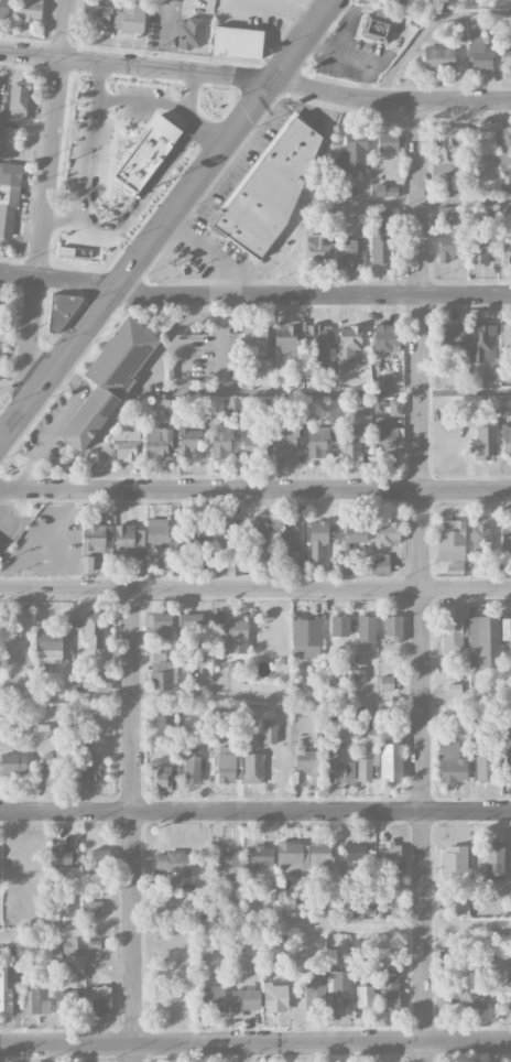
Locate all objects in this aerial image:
building: (409, 2)
building: (4, 9)
building: (29, 10)
building: (98, 13)
building: (130, 18)
building: (377, 26)
building: (458, 32)
building: (189, 33)
building: (237, 42)
building: (479, 54)
building: (438, 57)
building: (505, 59)
road: (135, 64)
road: (98, 77)
road: (191, 91)
building: (18, 99)
road: (390, 102)
road: (166, 104)
building: (1, 120)
building: (388, 141)
building: (482, 143)
building: (504, 144)
building: (355, 151)
building: (146, 153)
building: (447, 166)
building: (505, 184)
building: (268, 191)
building: (385, 191)
building: (9, 197)
road: (465, 199)
road: (47, 204)
road: (111, 210)
building: (446, 214)
building: (489, 216)
road: (70, 219)
road: (164, 220)
building: (381, 245)
building: (448, 246)
building: (479, 246)
building: (318, 248)
building: (355, 250)
building: (505, 251)
road: (253, 294)
building: (59, 313)
road: (176, 333)
road: (218, 333)
building: (507, 336)
building: (450, 337)
building: (316, 338)
building: (286, 339)
building: (387, 339)
building: (254, 340)
building: (482, 340)
building: (348, 345)
building: (265, 366)
building: (330, 368)
building: (489, 377)
building: (109, 379)
building: (296, 379)
road: (466, 392)
building: (233, 405)
building: (297, 405)
building: (394, 407)
road: (61, 425)
building: (160, 429)
building: (384, 434)
building: (187, 438)
building: (285, 440)
building: (505, 440)
building: (220, 441)
building: (316, 442)
building: (351, 442)
building: (486, 442)
building: (127, 444)
building: (254, 447)
road: (254, 489)
building: (156, 531)
building: (385, 533)
building: (352, 534)
building: (222, 535)
building: (252, 535)
building: (286, 537)
building: (479, 538)
building: (127, 539)
building: (192, 539)
building: (317, 540)
building: (505, 541)
building: (450, 542)
building: (97, 549)
building: (232, 565)
building: (380, 565)
road: (421, 582)
road: (254, 588)
building: (192, 620)
building: (159, 625)
building: (339, 626)
building: (394, 628)
building: (507, 628)
building: (366, 629)
building: (93, 630)
building: (453, 632)
building: (237, 635)
building: (306, 636)
building: (483, 641)
building: (47, 647)
building: (157, 653)
building: (159, 674)
building: (385, 682)
building: (102, 686)
building: (508, 719)
building: (162, 720)
building: (269, 736)
building: (307, 760)
building: (391, 761)
building: (450, 762)
building: (12, 763)
building: (508, 763)
building: (228, 765)
building: (53, 768)
building: (252, 768)
building: (338, 768)
building: (485, 768)
building: (88, 769)
building: (365, 769)
building: (191, 770)
building: (161, 778)
road: (255, 812)
road: (133, 816)
building: (355, 853)
building: (261, 855)
building: (303, 855)
building: (64, 856)
building: (388, 857)
building: (494, 859)
building: (99, 860)
building: (454, 860)
building: (174, 863)
building: (227, 864)
building: (362, 906)
building: (91, 909)
building: (458, 909)
building: (73, 943)
building: (509, 984)
building: (338, 988)
building: (314, 989)
building: (390, 993)
building: (466, 993)
building: (4, 995)
building: (365, 996)
building: (275, 997)
building: (211, 998)
building: (246, 998)
building: (33, 1000)
building: (100, 1000)
building: (65, 1001)
road: (255, 1043)
road: (135, 1053)

